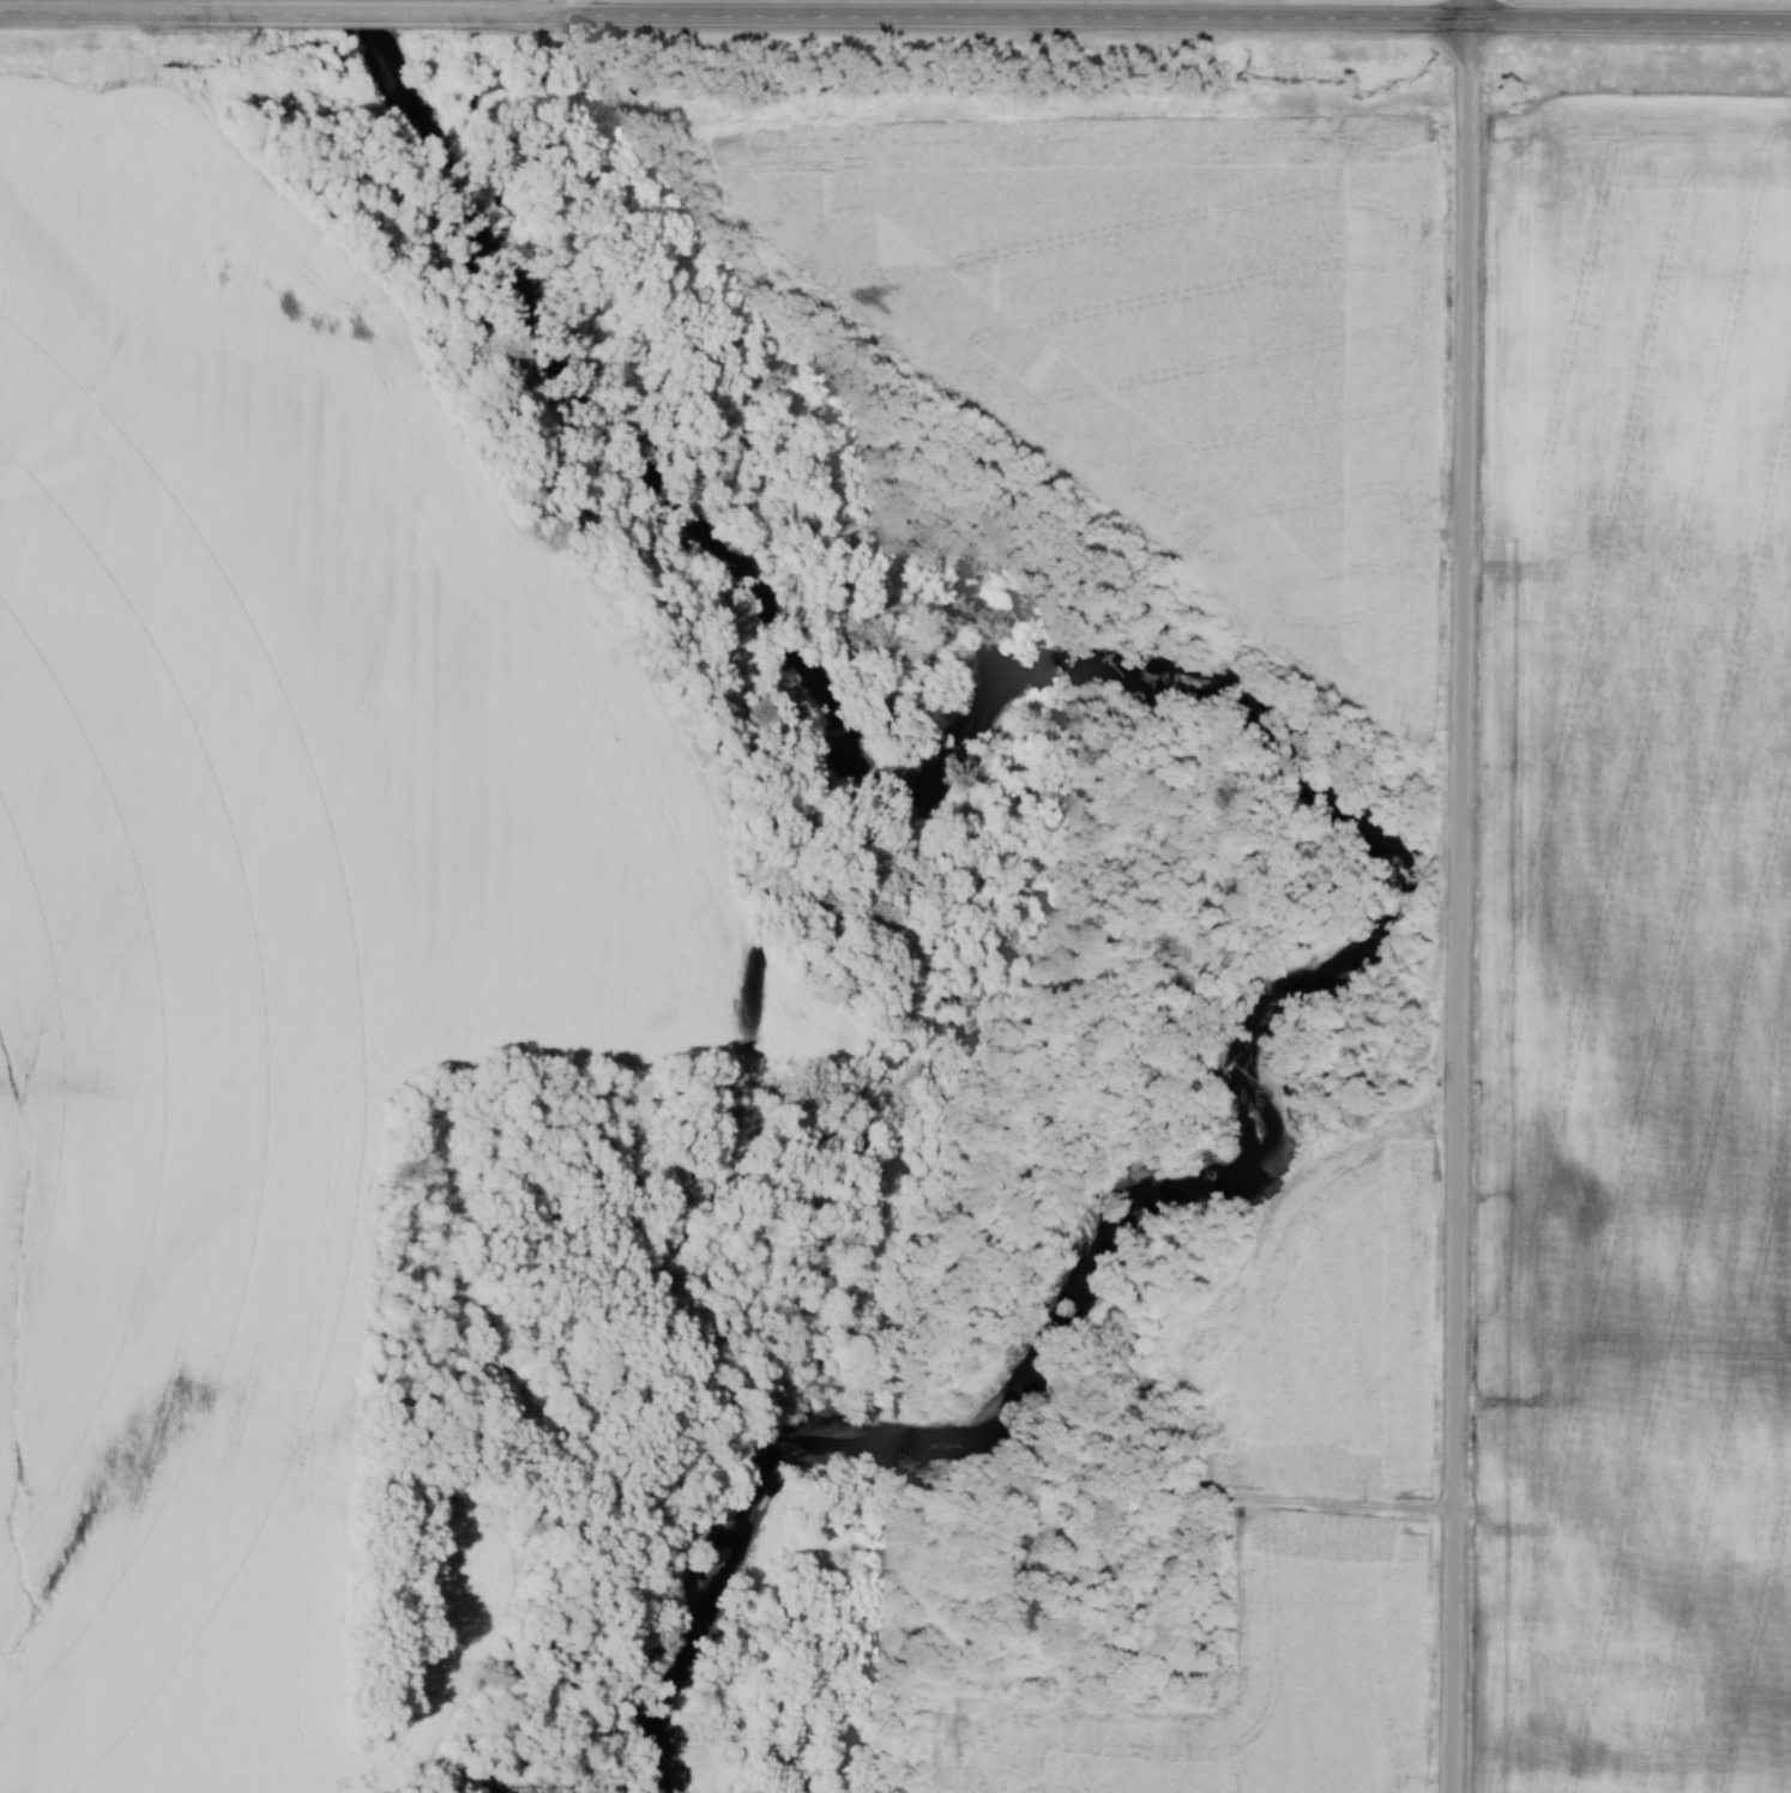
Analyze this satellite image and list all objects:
road: (105, 11)
road: (328, 11)
road: (1117, 14)
road: (1463, 895)
road: (1213, 1492)
building: (1002, 1558)
building: (1029, 1608)

